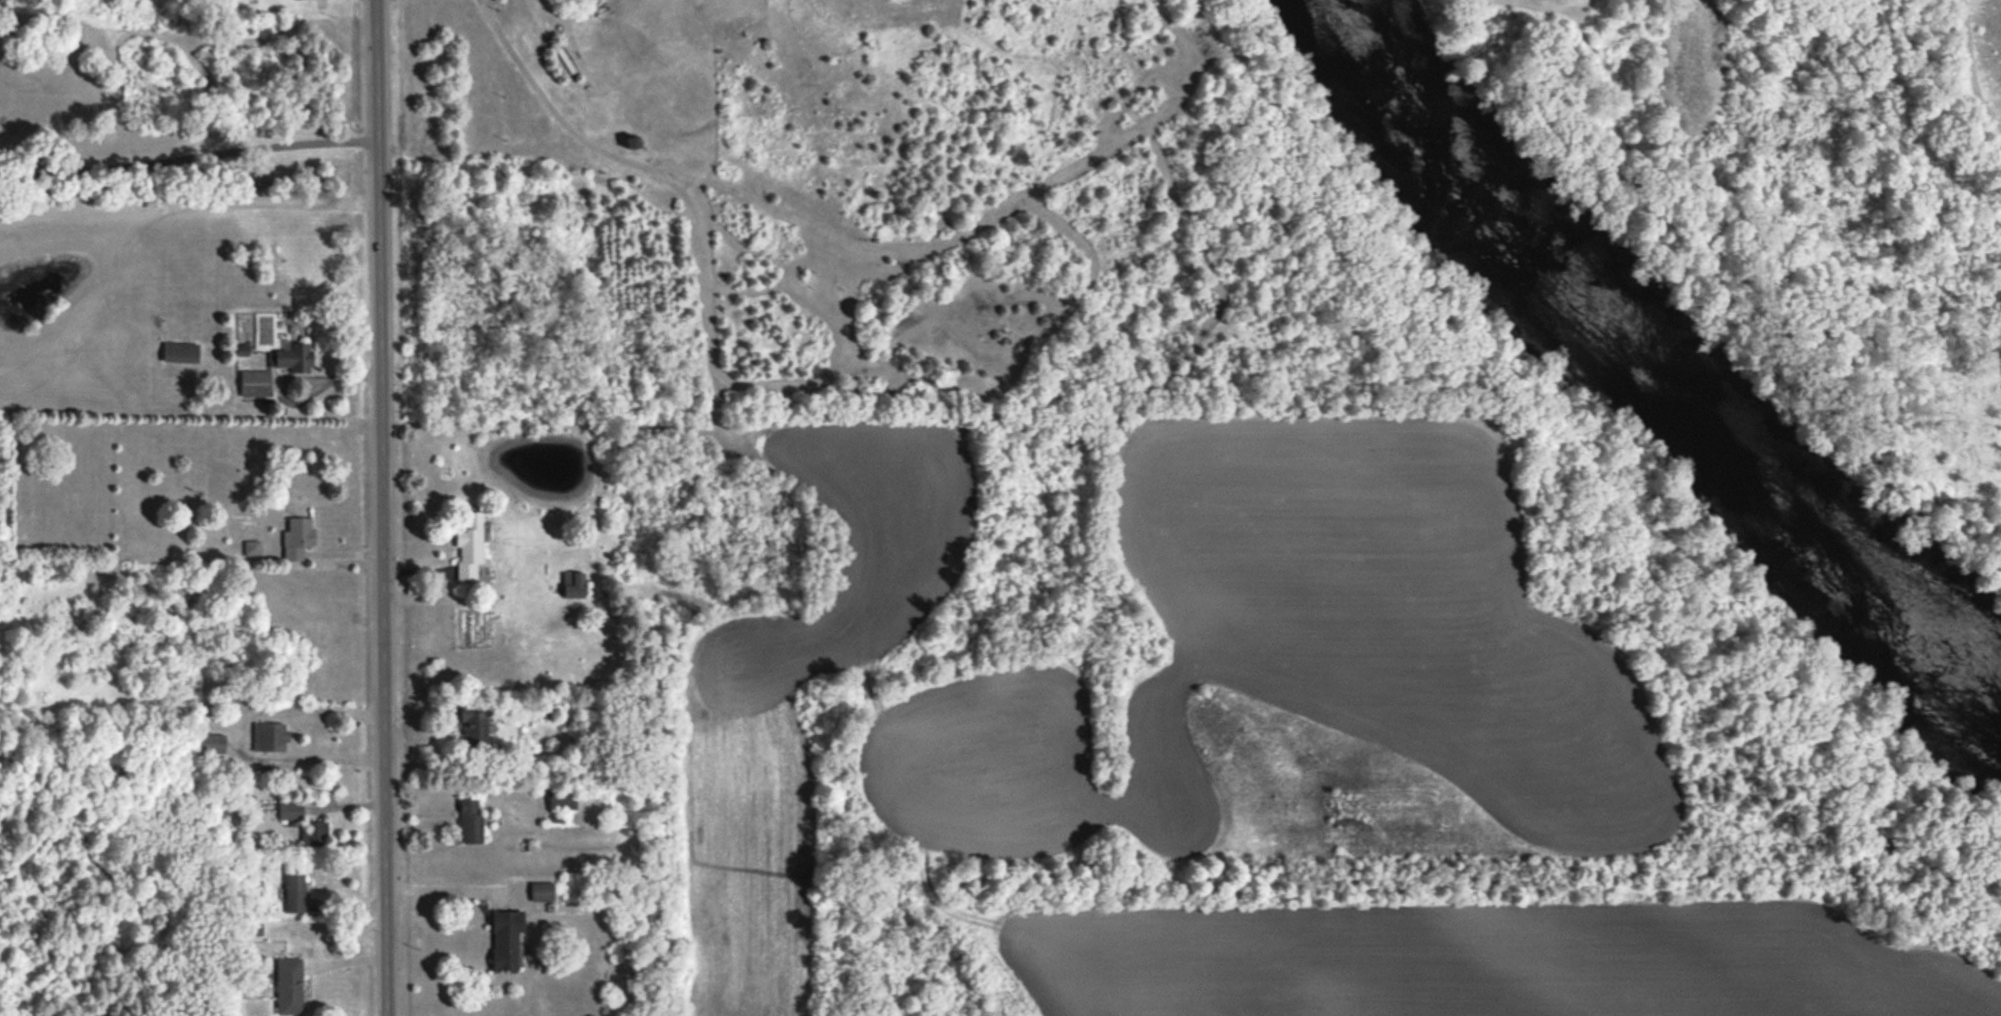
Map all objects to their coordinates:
road: (202, 155)
road: (13, 160)
road: (13, 167)
park: (1777, 200)
building: (180, 352)
building: (294, 356)
river: (1633, 369)
building: (255, 383)
road: (383, 507)
building: (297, 538)
building: (469, 546)
building: (251, 547)
building: (573, 584)
building: (474, 724)
building: (269, 736)
building: (212, 743)
road: (311, 759)
building: (562, 799)
building: (291, 809)
building: (470, 822)
building: (315, 833)
road: (440, 888)
building: (295, 890)
building: (542, 891)
building: (505, 939)
building: (289, 986)

